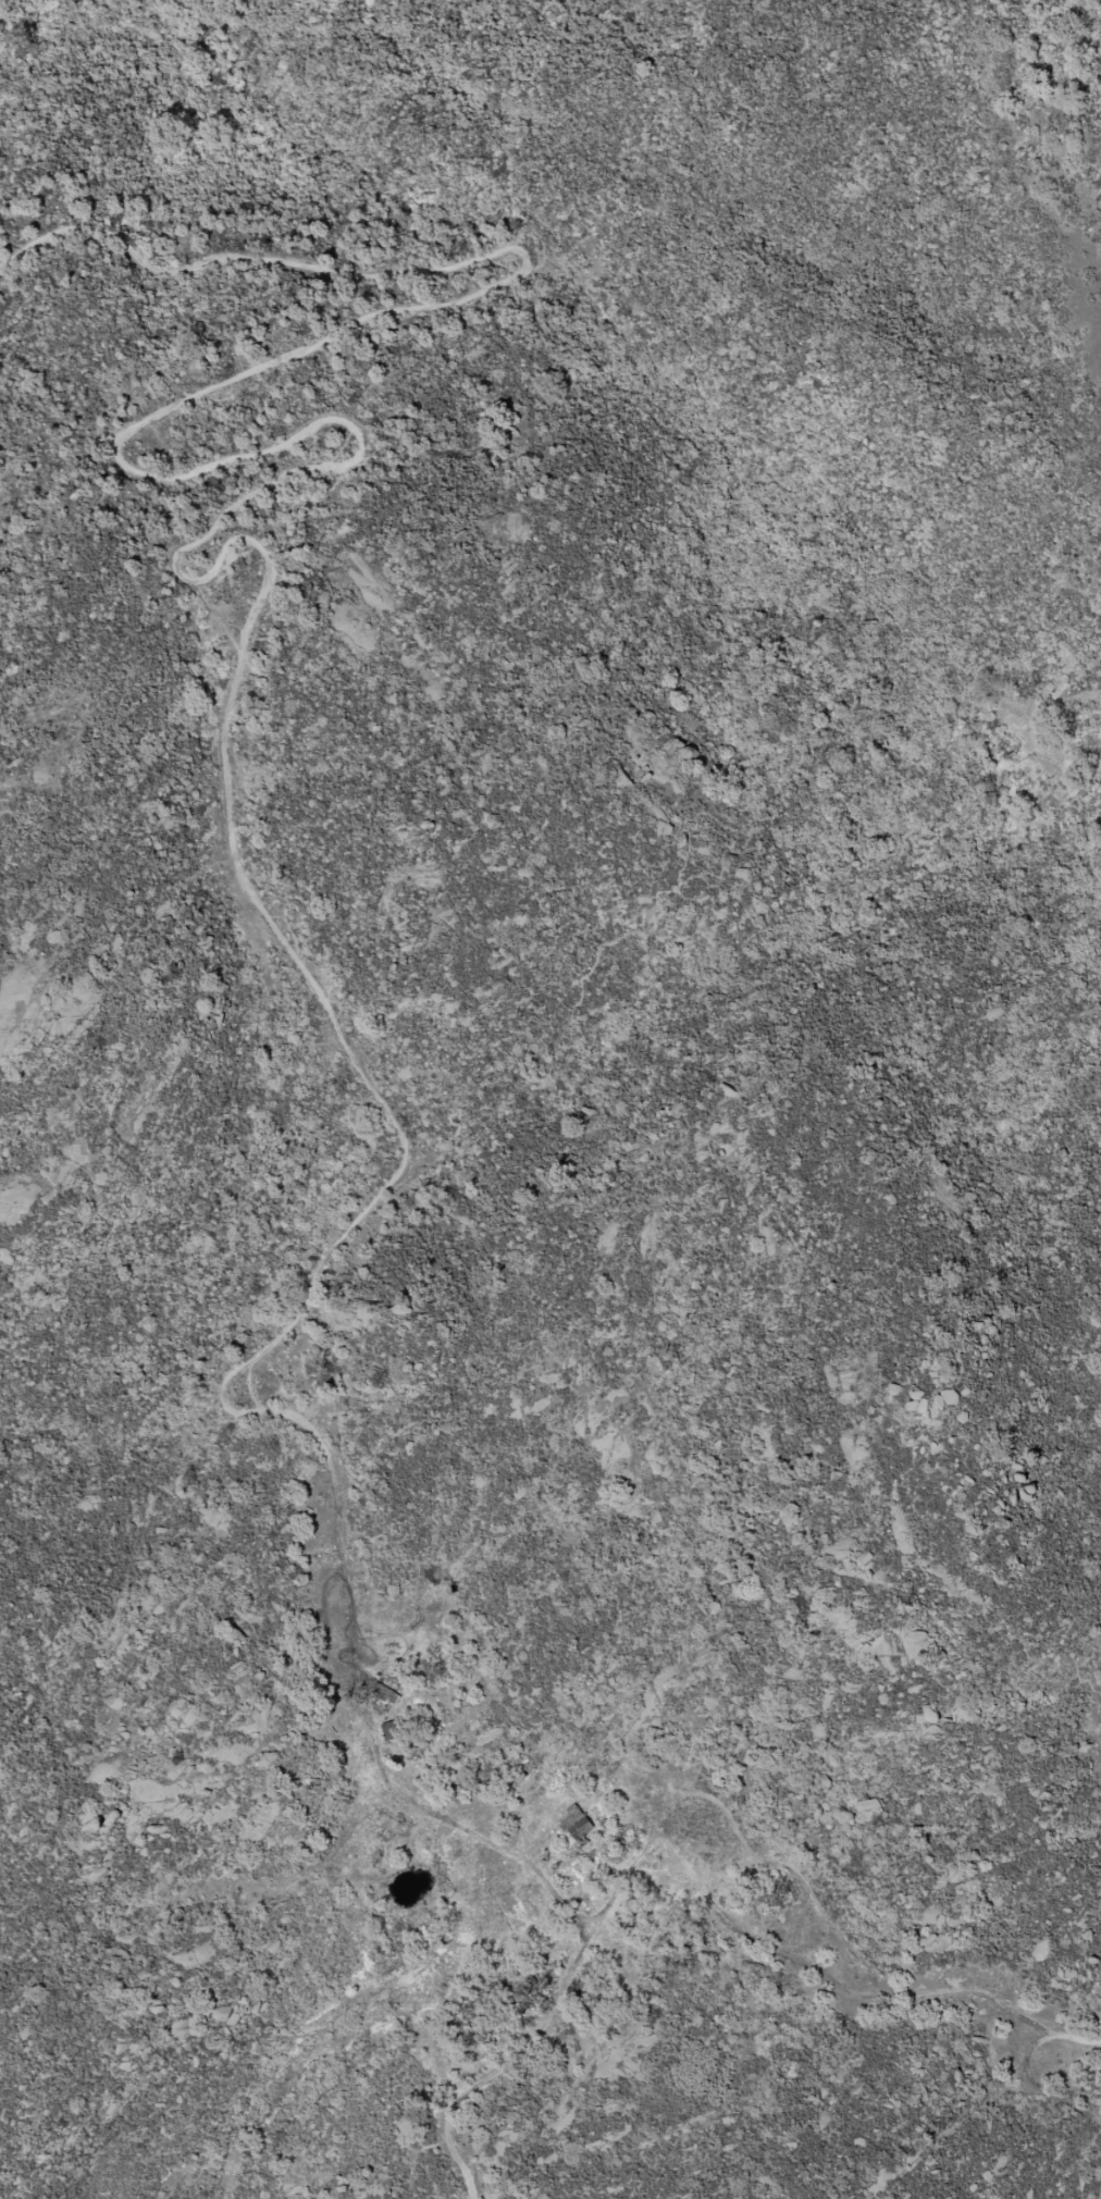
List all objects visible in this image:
road: (372, 265)
road: (233, 660)
road: (1051, 758)
road: (659, 916)
park: (850, 1115)
building: (576, 1824)
road: (994, 1998)
road: (1064, 2035)
road: (508, 2064)
road: (1051, 2098)

